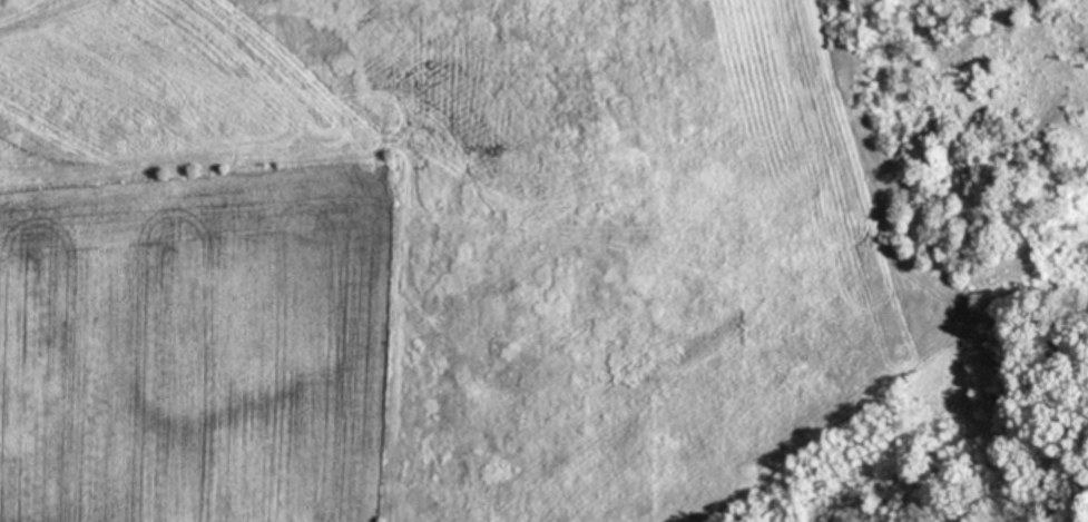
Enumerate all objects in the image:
crop: (447, 258)

